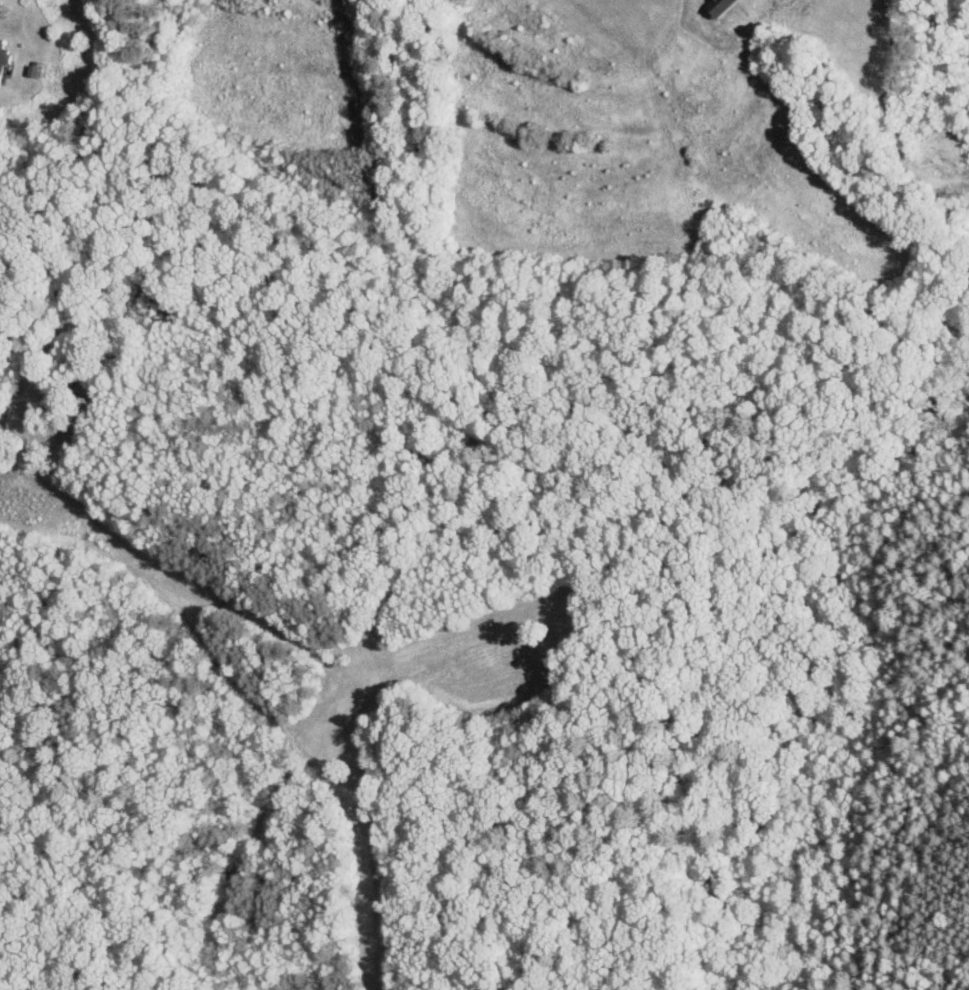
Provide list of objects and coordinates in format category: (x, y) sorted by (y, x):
building: (724, 4)
building: (5, 58)
road: (108, 292)

